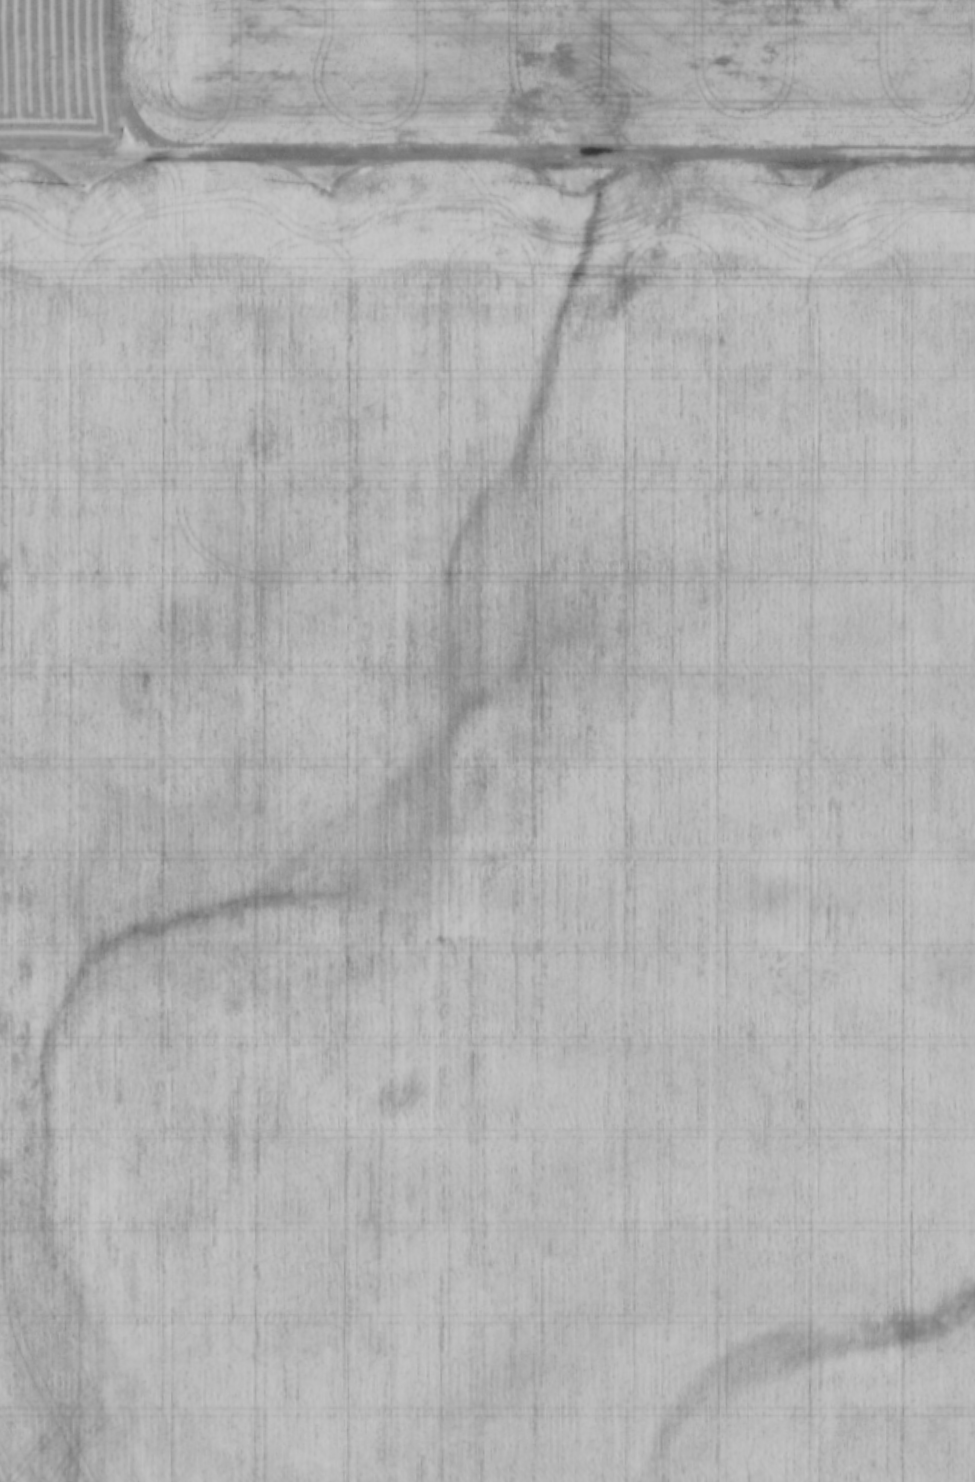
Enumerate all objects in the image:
road: (487, 146)

